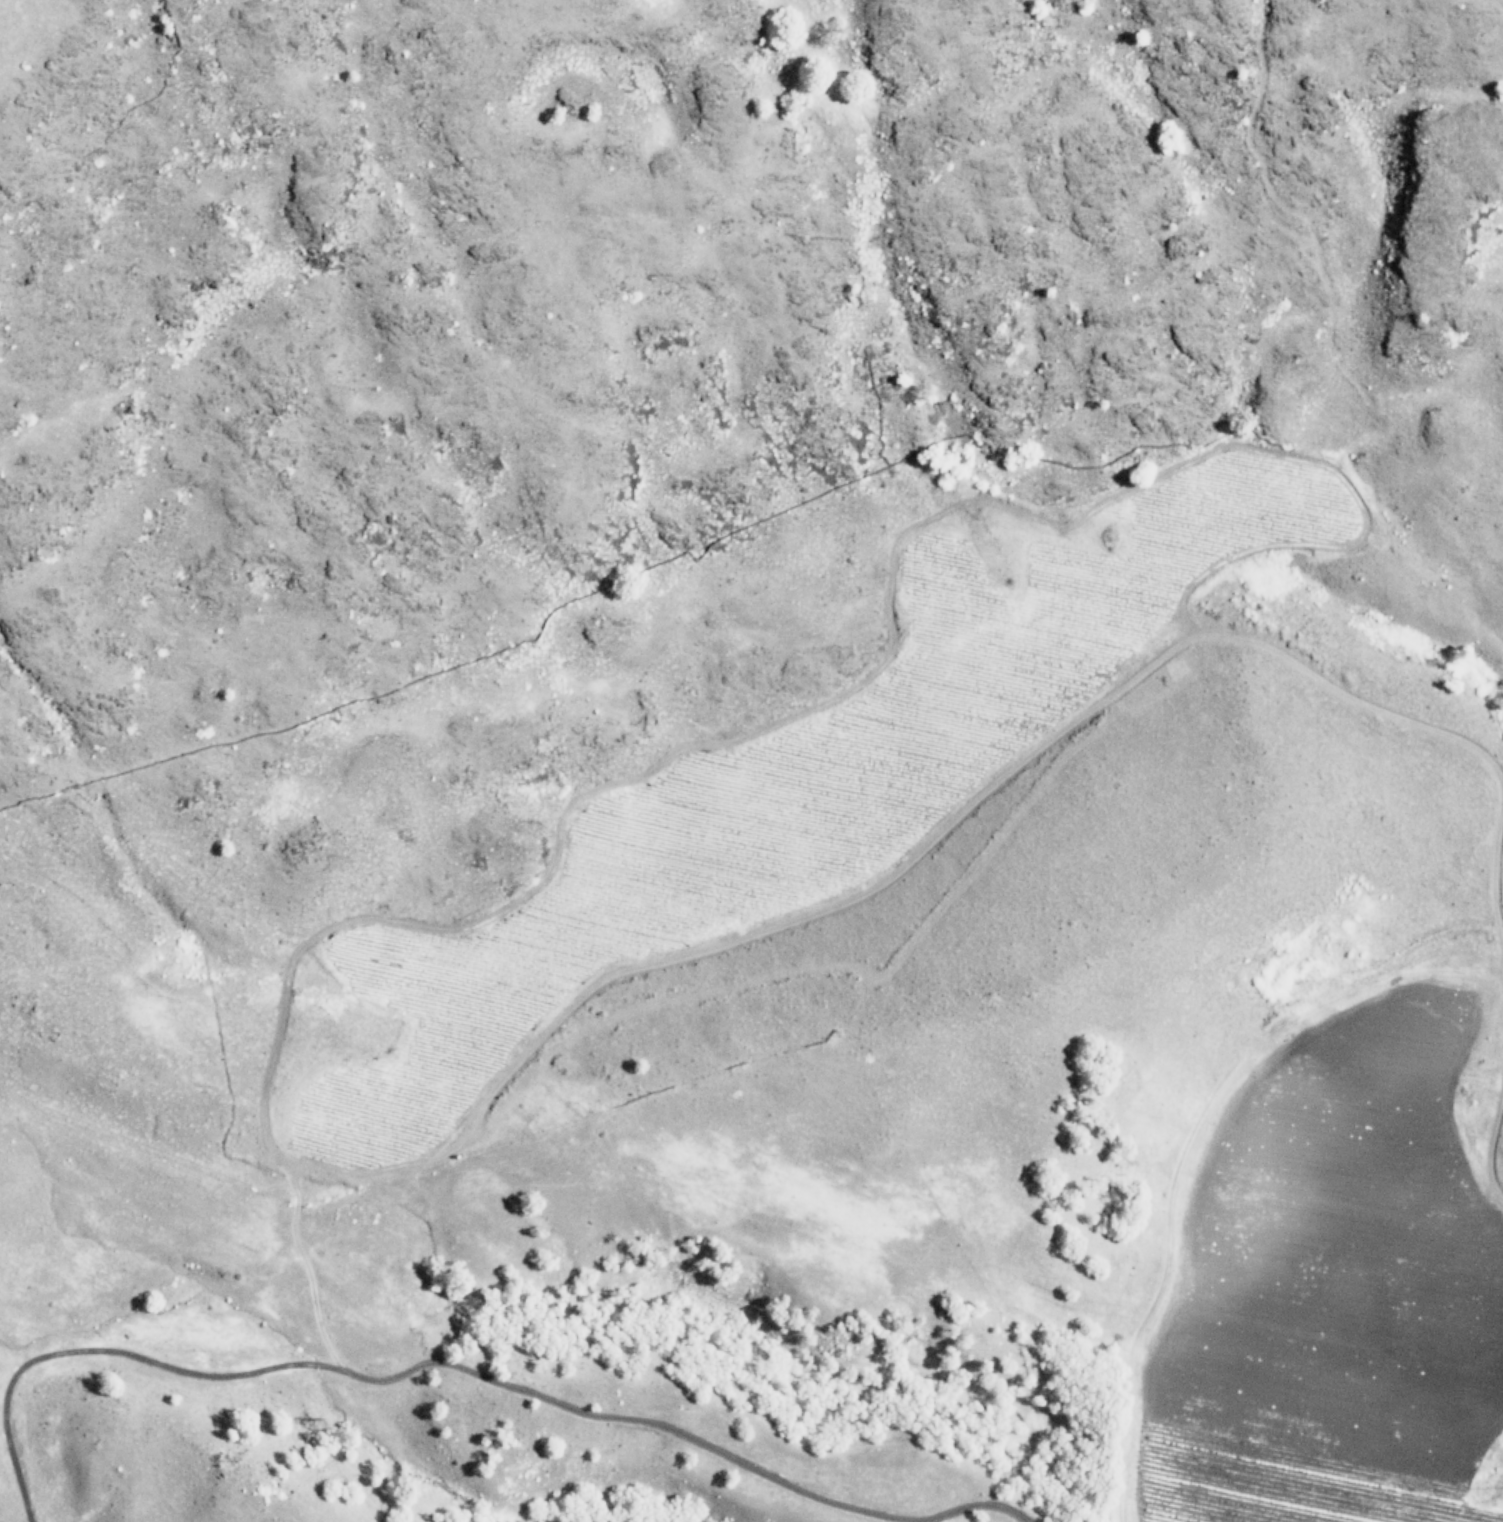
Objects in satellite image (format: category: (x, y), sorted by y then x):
road: (451, 1364)

